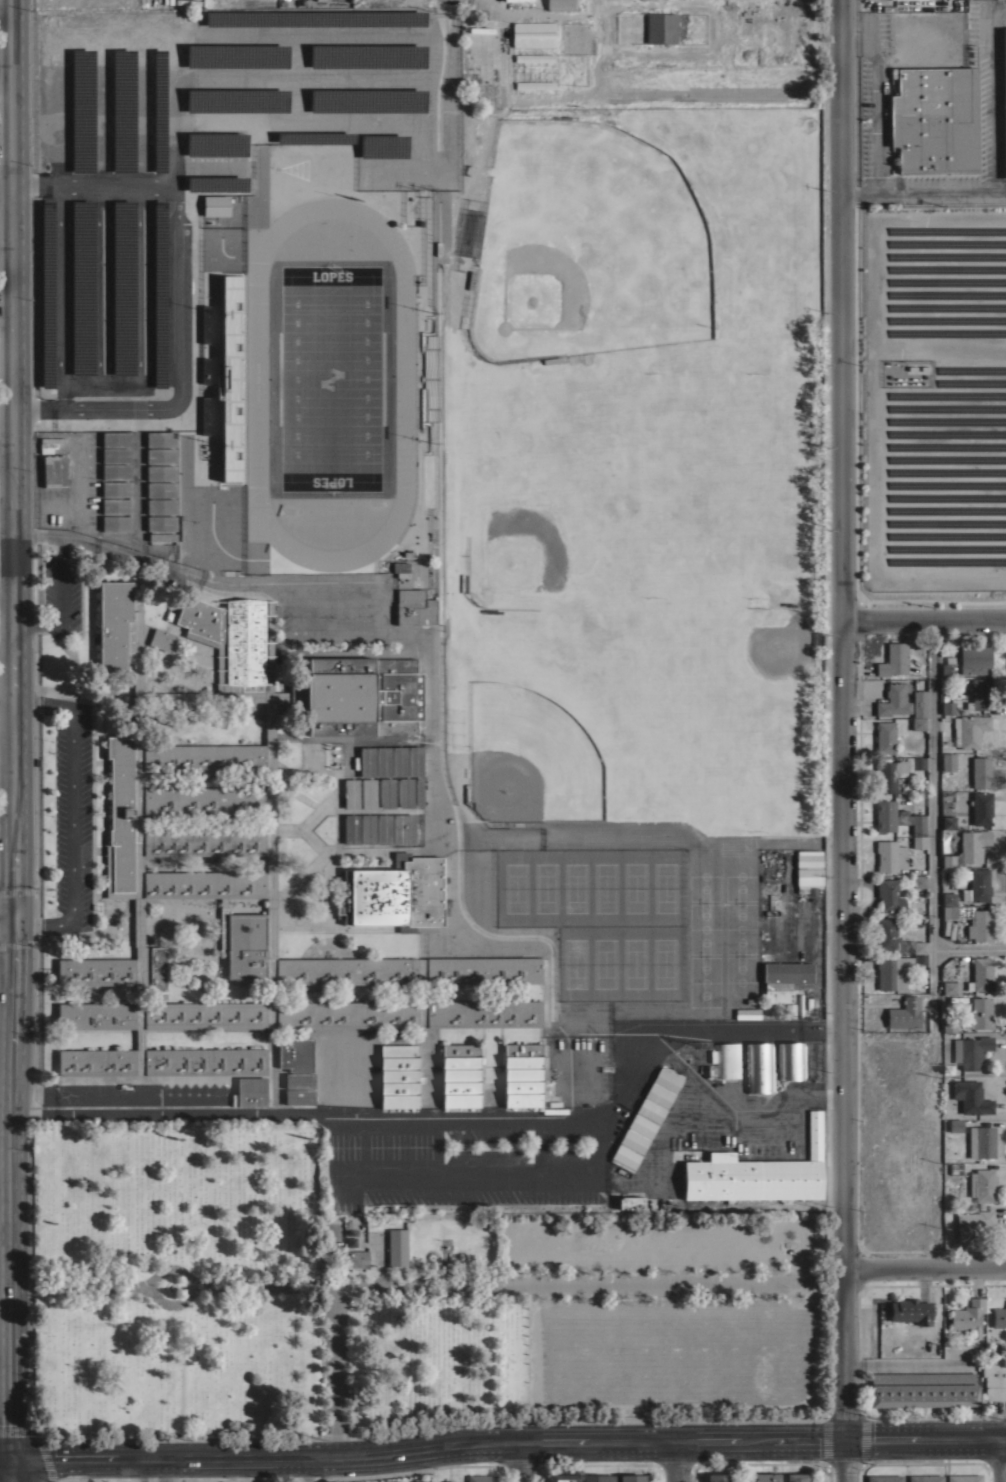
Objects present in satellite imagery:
building: (518, 0)
building: (903, 1)
building: (561, 4)
building: (316, 17)
building: (661, 28)
building: (533, 34)
building: (237, 55)
building: (369, 56)
building: (534, 58)
building: (535, 84)
road: (988, 87)
building: (233, 99)
building: (367, 99)
building: (160, 110)
building: (83, 111)
building: (124, 111)
road: (878, 116)
building: (934, 120)
road: (253, 122)
building: (315, 137)
building: (217, 144)
building: (384, 146)
road: (6, 184)
building: (217, 184)
road: (999, 187)
road: (936, 189)
building: (216, 205)
park: (598, 230)
road: (6, 236)
road: (101, 286)
building: (83, 288)
building: (124, 288)
building: (47, 293)
building: (160, 295)
road: (62, 298)
road: (142, 327)
road: (180, 377)
building: (430, 377)
park: (329, 378)
track: (331, 384)
building: (116, 438)
building: (160, 438)
building: (45, 445)
building: (116, 455)
building: (160, 455)
road: (14, 460)
road: (7, 465)
park: (631, 466)
building: (54, 471)
building: (116, 471)
building: (160, 472)
building: (116, 488)
building: (160, 489)
building: (116, 505)
building: (160, 506)
building: (116, 522)
building: (161, 522)
building: (162, 536)
building: (400, 568)
road: (8, 580)
building: (414, 607)
road: (924, 617)
building: (134, 623)
building: (110, 624)
building: (161, 639)
building: (231, 643)
building: (893, 660)
building: (974, 660)
building: (948, 666)
building: (980, 693)
building: (358, 696)
building: (894, 700)
building: (919, 703)
building: (948, 707)
building: (918, 723)
building: (972, 729)
building: (884, 737)
road: (843, 741)
building: (205, 756)
park: (528, 757)
building: (311, 759)
building: (398, 760)
building: (414, 760)
building: (366, 761)
building: (382, 761)
building: (948, 762)
road: (7, 765)
building: (895, 771)
building: (981, 772)
building: (418, 791)
building: (386, 792)
building: (405, 792)
building: (350, 793)
building: (368, 793)
building: (205, 798)
building: (311, 798)
building: (981, 808)
building: (122, 813)
parking lot: (74, 816)
road: (73, 817)
road: (934, 818)
building: (900, 821)
building: (948, 822)
building: (350, 828)
building: (367, 828)
building: (403, 828)
building: (383, 829)
building: (206, 840)
building: (312, 841)
building: (968, 848)
building: (989, 848)
building: (889, 855)
building: (809, 862)
building: (206, 881)
building: (918, 881)
building: (976, 885)
building: (302, 887)
building: (393, 894)
building: (889, 896)
building: (948, 898)
building: (918, 908)
park: (604, 918)
road: (7, 920)
traffic signals: (14, 920)
building: (972, 920)
building: (887, 935)
building: (248, 945)
building: (918, 946)
road: (971, 947)
building: (348, 970)
building: (485, 970)
building: (896, 970)
building: (95, 971)
building: (158, 972)
building: (980, 974)
building: (784, 979)
building: (950, 987)
building: (789, 1010)
building: (485, 1013)
building: (905, 1013)
building: (980, 1013)
building: (348, 1014)
building: (163, 1017)
building: (949, 1026)
road: (737, 1030)
building: (970, 1050)
building: (295, 1054)
building: (163, 1060)
building: (727, 1060)
building: (790, 1060)
building: (759, 1067)
building: (710, 1070)
building: (523, 1074)
road: (7, 1075)
building: (460, 1075)
building: (398, 1076)
building: (299, 1080)
building: (250, 1092)
road: (769, 1095)
building: (299, 1096)
building: (970, 1097)
building: (554, 1110)
road: (354, 1115)
building: (646, 1117)
building: (955, 1125)
building: (981, 1142)
building: (956, 1168)
building: (758, 1173)
building: (982, 1184)
road: (13, 1188)
building: (630, 1202)
building: (971, 1226)
building: (396, 1246)
building: (350, 1258)
road: (926, 1272)
road: (508, 1282)
park: (381, 1292)
building: (910, 1311)
building: (968, 1316)
building: (999, 1317)
building: (994, 1378)
building: (922, 1386)
traffic signals: (845, 1438)
road: (508, 1444)
road: (6, 1457)
traffic signals: (12, 1457)
road: (1002, 1460)
road: (675, 1461)
road: (524, 1462)
road: (12, 1469)
road: (141, 1471)
road: (159, 1471)
building: (761, 1477)
building: (795, 1477)
building: (480, 1478)
building: (562, 1478)
building: (598, 1478)
building: (632, 1478)
building: (717, 1478)
building: (883, 1478)
building: (925, 1478)
building: (963, 1478)
building: (391, 1481)
building: (420, 1481)
building: (447, 1481)
building: (456, 1481)

